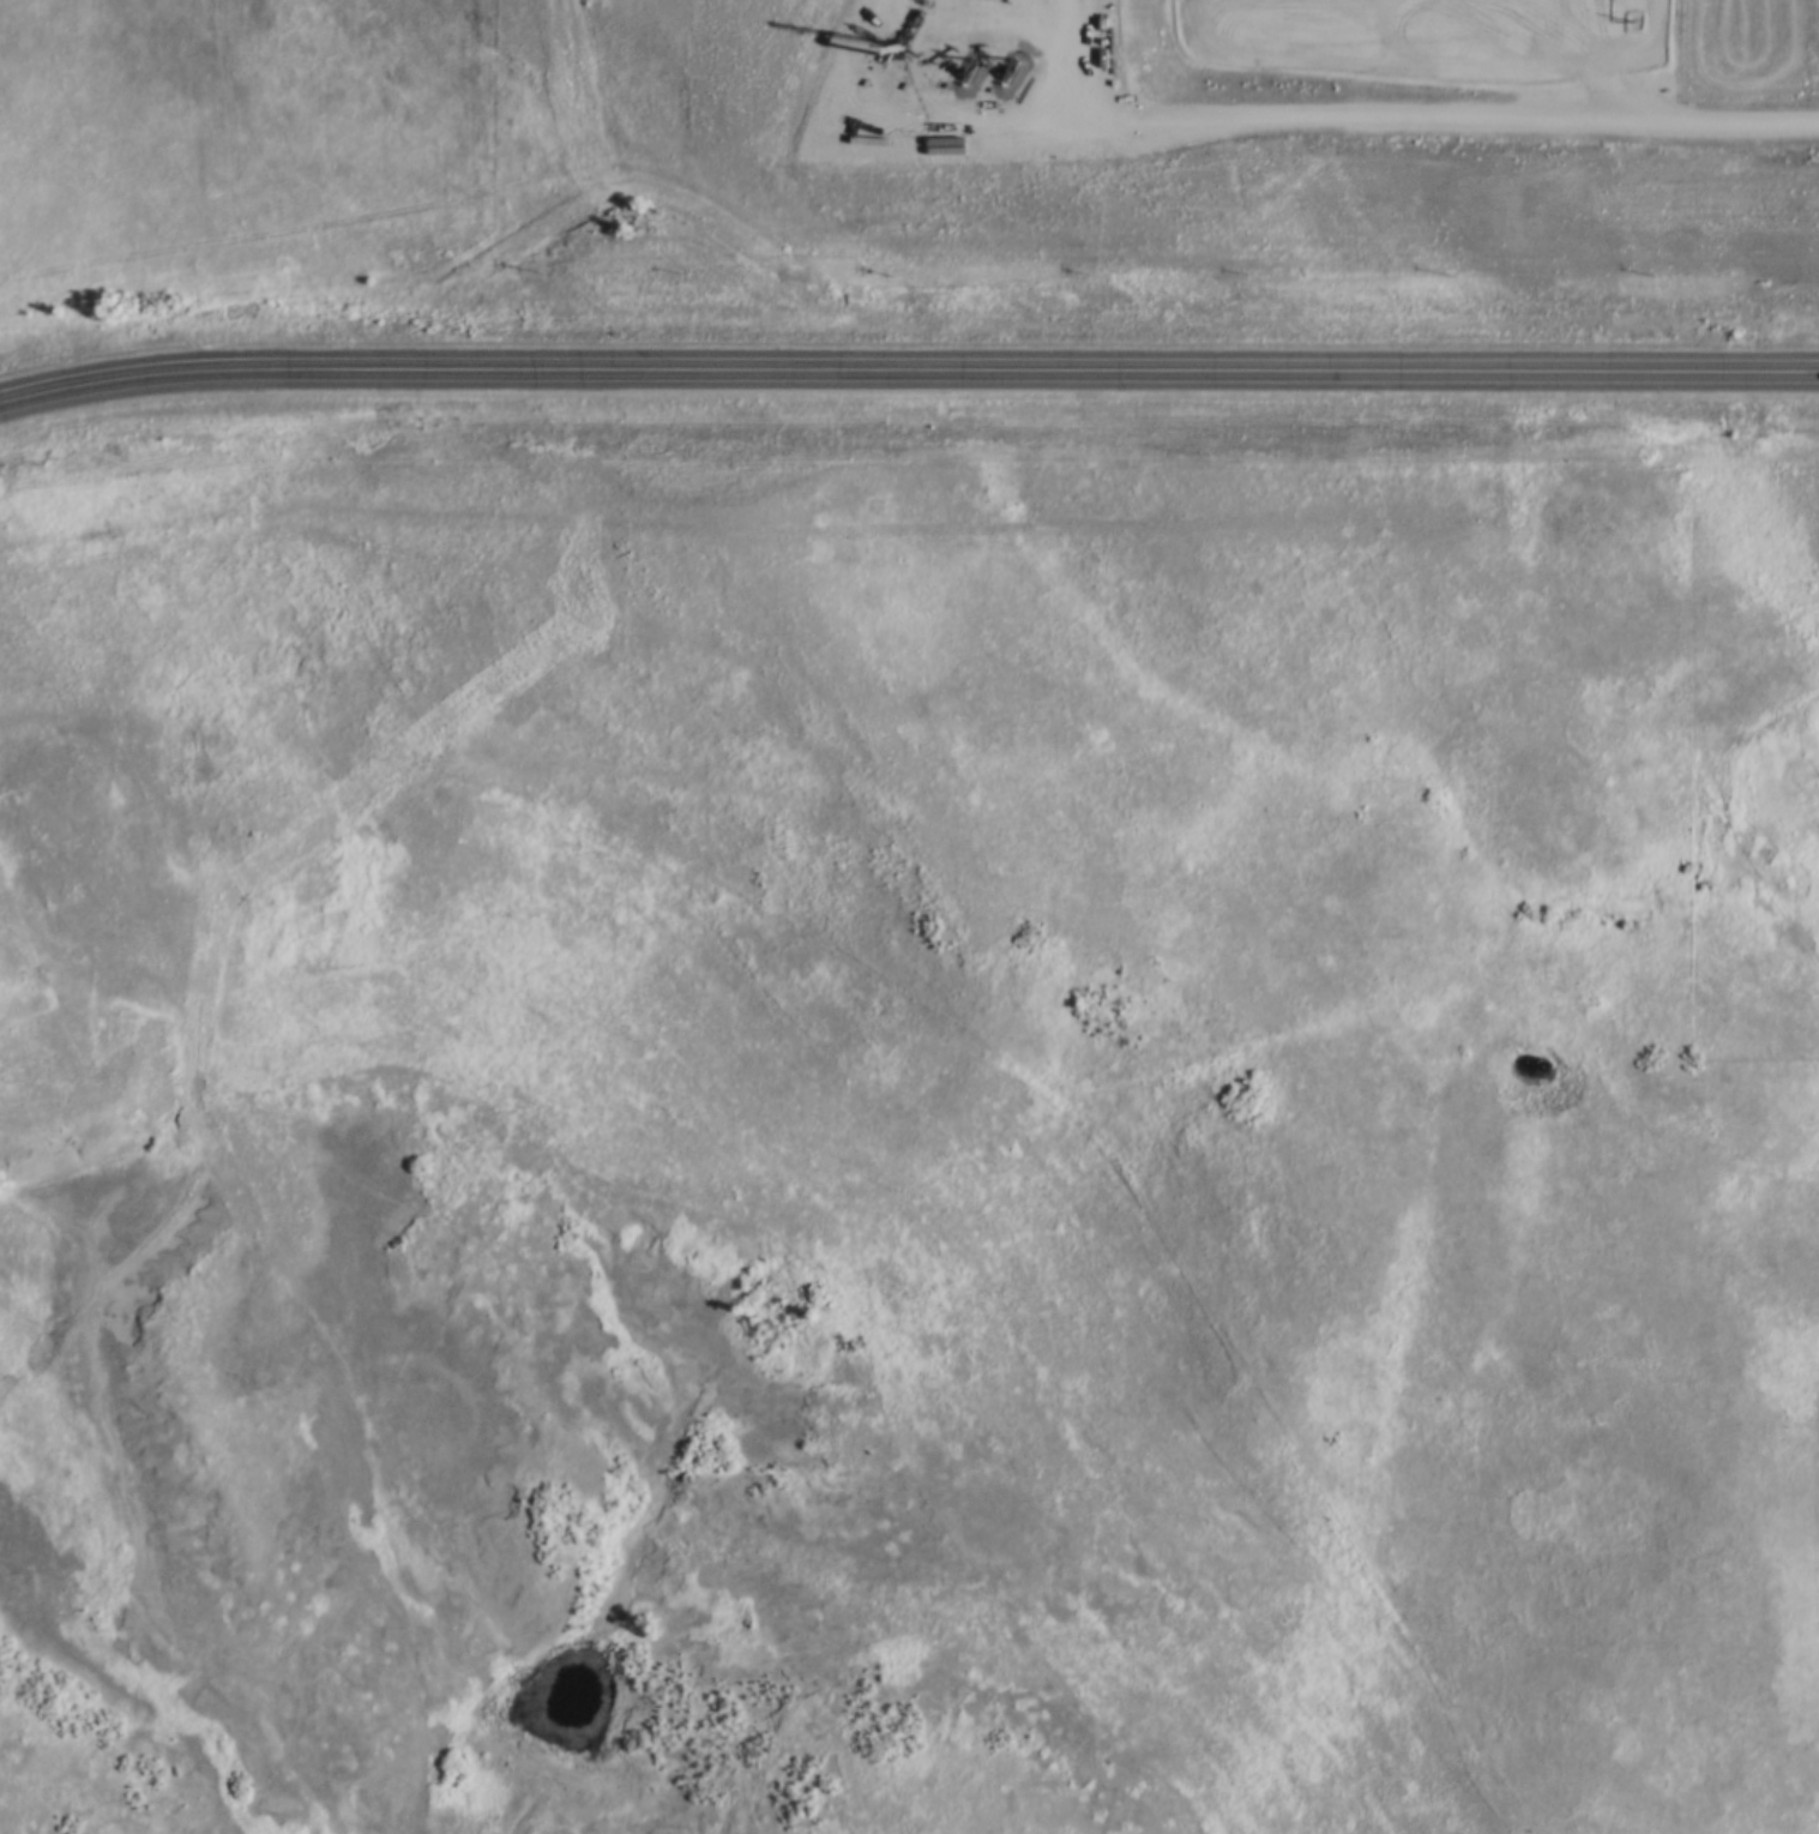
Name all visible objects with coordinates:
road: (908, 373)

